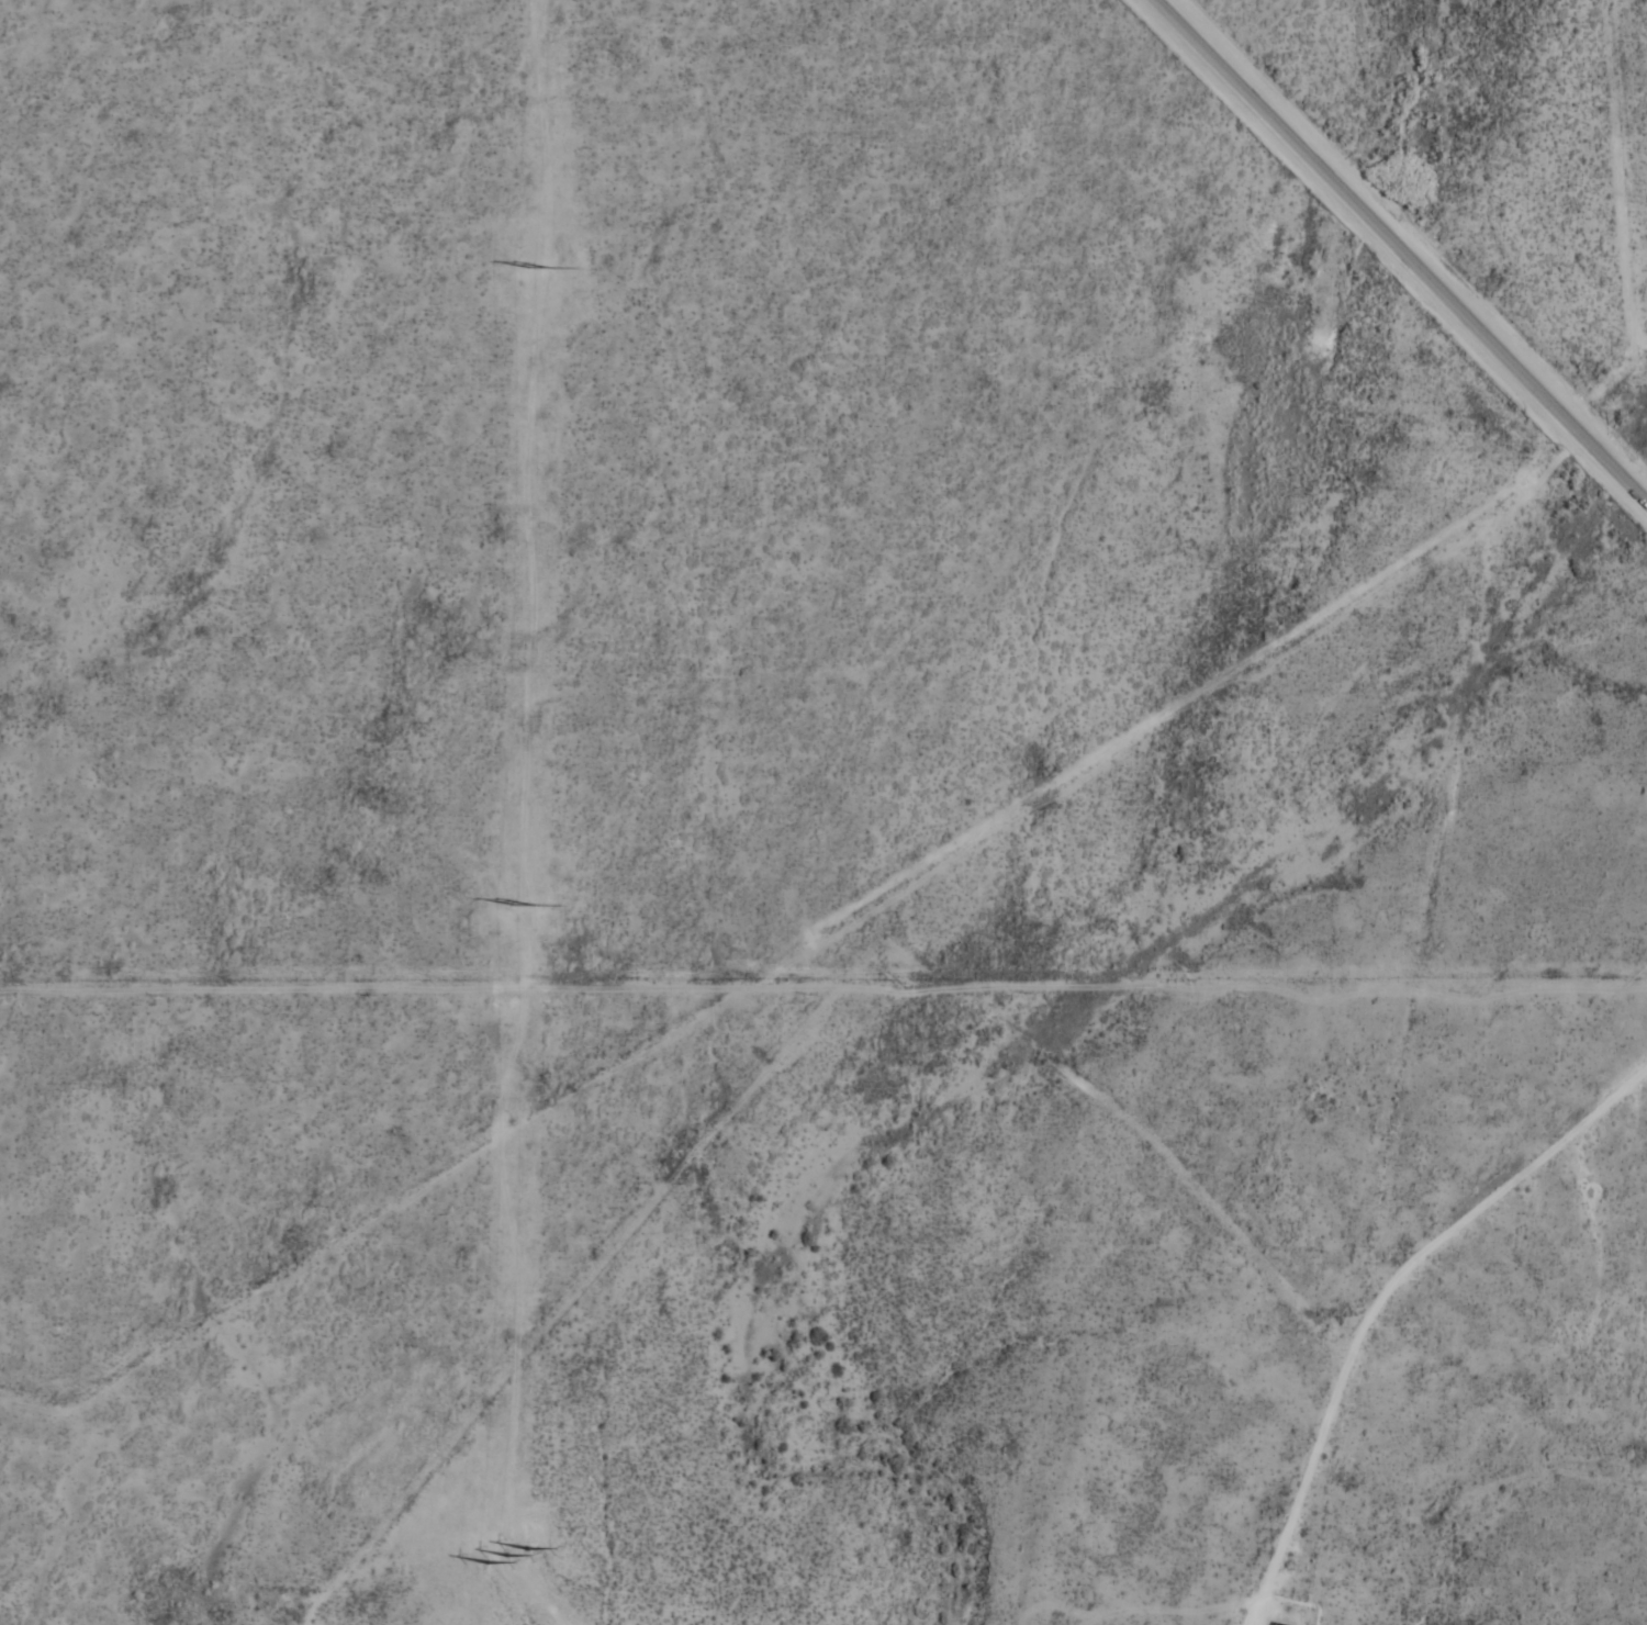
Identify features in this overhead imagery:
road: (1402, 250)
power tower: (531, 265)
power tower: (518, 905)
road: (792, 1044)
road: (1362, 1330)
road: (1432, 1502)
power tower: (505, 1559)

